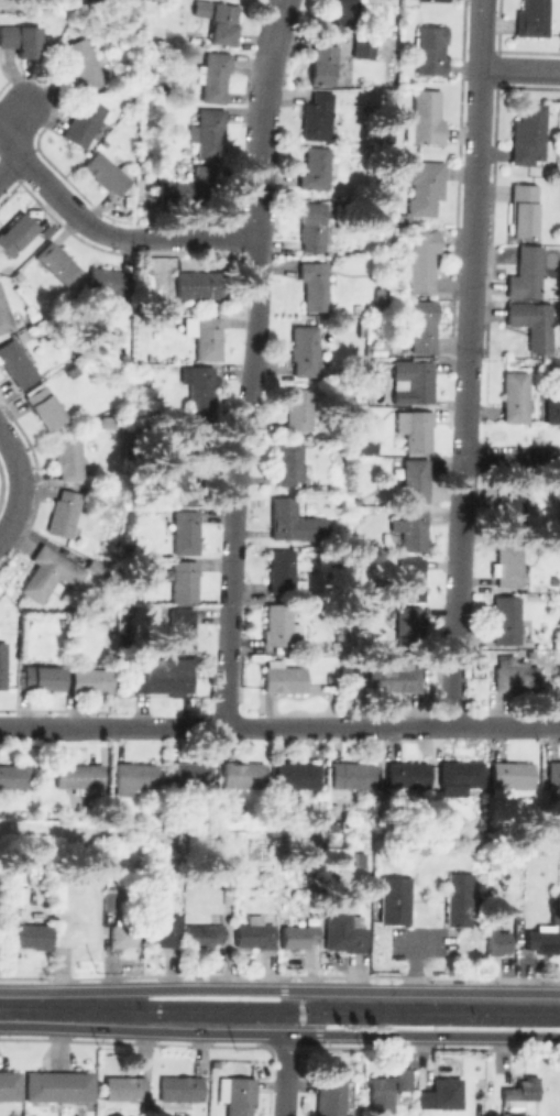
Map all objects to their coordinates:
building: (437, 0)
building: (344, 12)
building: (218, 19)
building: (532, 19)
building: (21, 40)
building: (364, 47)
building: (430, 50)
building: (322, 61)
building: (342, 64)
building: (84, 66)
road: (521, 68)
building: (213, 76)
building: (317, 116)
building: (425, 118)
road: (17, 122)
building: (85, 122)
building: (208, 132)
road: (7, 135)
building: (529, 135)
road: (9, 161)
building: (315, 167)
building: (107, 172)
road: (477, 182)
building: (424, 185)
building: (187, 186)
road: (64, 203)
building: (525, 210)
building: (312, 227)
building: (15, 233)
road: (195, 239)
building: (422, 260)
building: (56, 262)
building: (528, 274)
building: (200, 284)
building: (109, 285)
building: (315, 286)
building: (382, 299)
building: (358, 308)
building: (29, 315)
building: (4, 316)
building: (532, 322)
building: (422, 326)
building: (208, 338)
building: (306, 350)
building: (377, 350)
building: (15, 363)
road: (251, 363)
building: (370, 363)
building: (69, 372)
building: (414, 380)
building: (200, 386)
building: (516, 397)
building: (44, 408)
building: (298, 409)
building: (553, 409)
building: (108, 425)
building: (416, 430)
building: (195, 436)
building: (366, 446)
building: (68, 458)
road: (513, 459)
building: (289, 463)
building: (416, 481)
road: (23, 483)
building: (189, 484)
building: (558, 504)
building: (512, 514)
building: (66, 515)
building: (295, 522)
building: (413, 529)
building: (186, 533)
road: (461, 546)
building: (507, 565)
building: (281, 570)
building: (48, 572)
building: (410, 579)
building: (185, 581)
building: (506, 619)
building: (281, 625)
building: (408, 628)
building: (182, 630)
building: (2, 664)
building: (515, 674)
building: (164, 676)
building: (394, 676)
building: (284, 677)
building: (43, 678)
building: (558, 678)
building: (90, 680)
road: (334, 727)
road: (25, 729)
road: (79, 729)
building: (553, 774)
building: (79, 775)
building: (459, 775)
building: (512, 775)
building: (14, 776)
building: (188, 776)
building: (134, 777)
building: (242, 777)
building: (295, 777)
building: (405, 777)
building: (349, 778)
road: (52, 831)
building: (89, 852)
building: (238, 852)
building: (360, 860)
building: (244, 875)
building: (392, 899)
building: (455, 899)
building: (109, 902)
building: (163, 929)
building: (255, 932)
building: (204, 934)
building: (34, 936)
building: (125, 936)
building: (299, 936)
building: (545, 938)
building: (347, 939)
building: (497, 942)
road: (279, 989)
railway: (279, 1005)
road: (301, 1010)
railway: (279, 1016)
road: (279, 1033)
road: (285, 1074)
building: (403, 1079)
building: (10, 1084)
building: (58, 1085)
building: (124, 1087)
building: (180, 1091)
building: (521, 1091)
building: (447, 1092)
building: (238, 1093)
building: (382, 1095)
building: (331, 1096)
building: (424, 1098)
building: (506, 1115)

